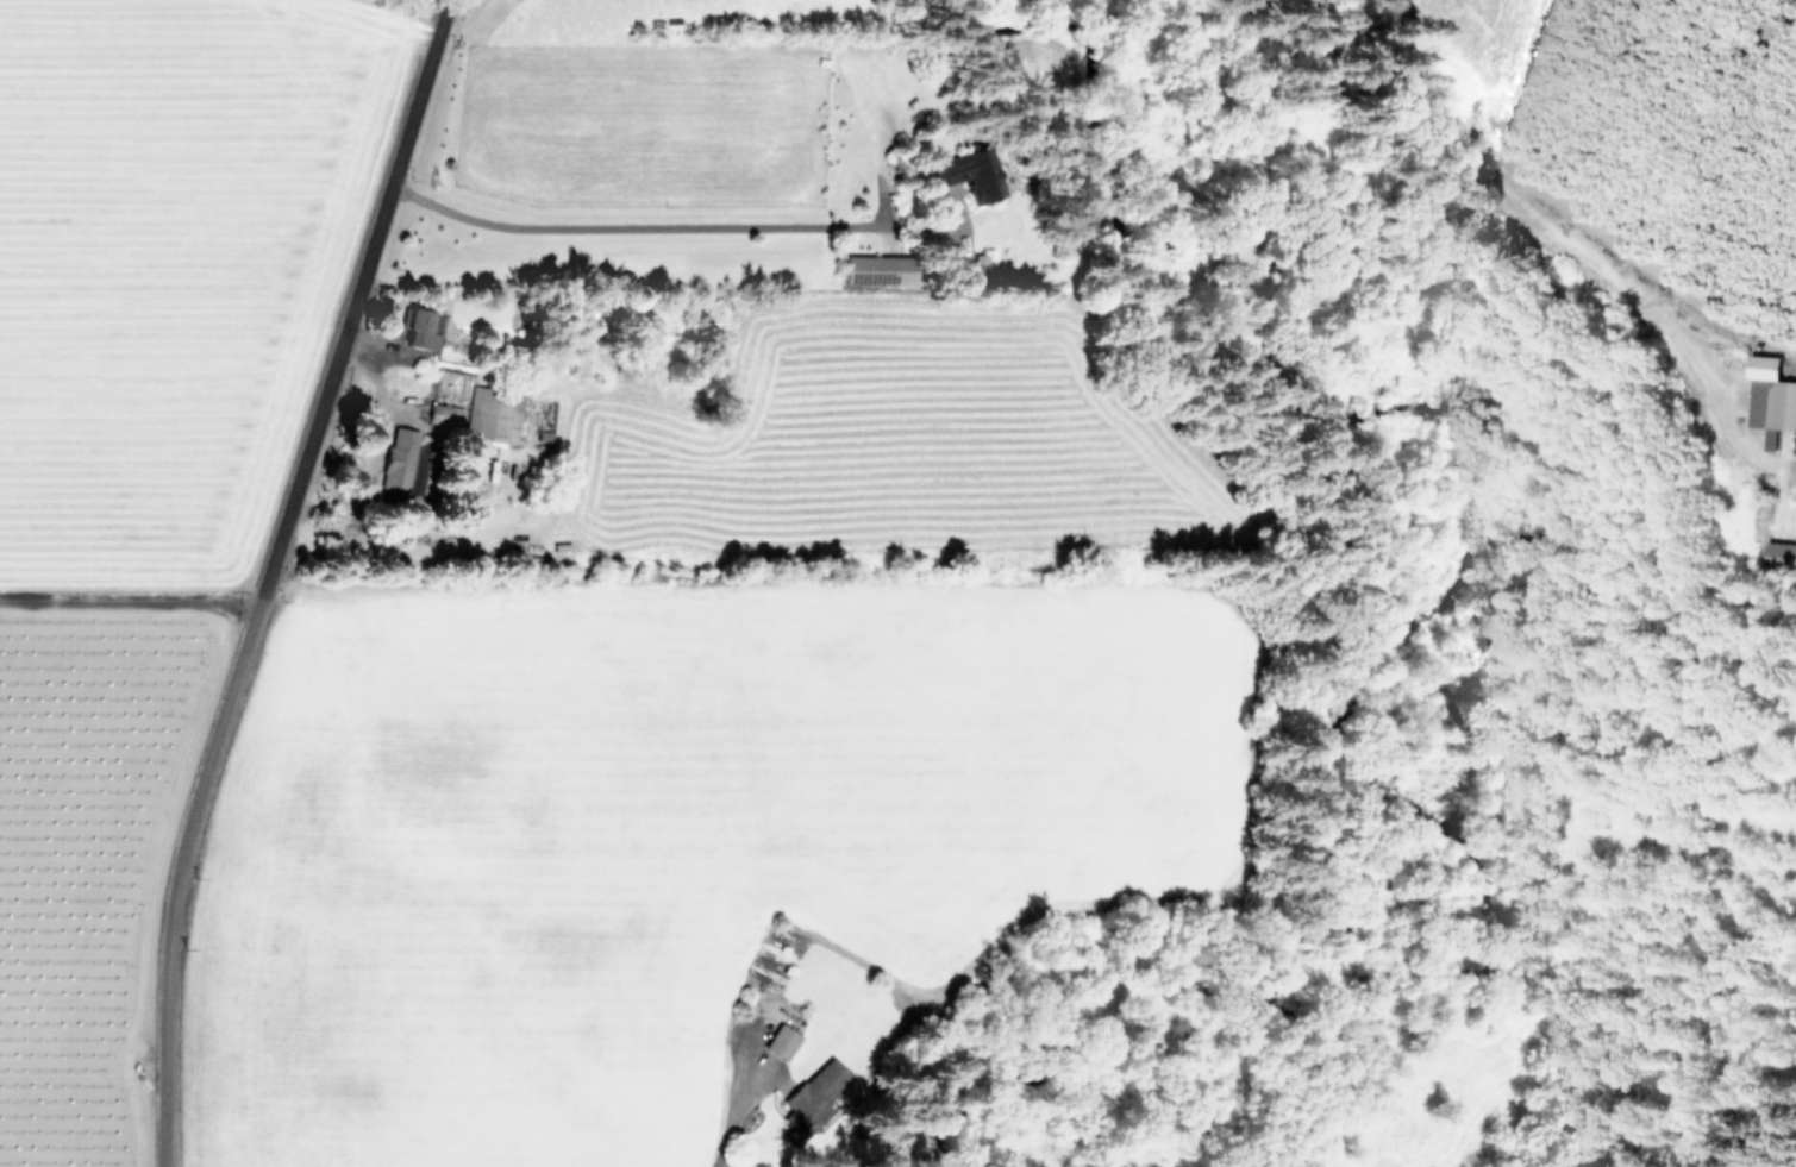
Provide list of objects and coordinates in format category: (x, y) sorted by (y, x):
building: (966, 172)
road: (622, 227)
building: (877, 268)
building: (421, 326)
building: (1771, 397)
building: (482, 413)
building: (398, 457)
building: (1782, 554)
river: (1445, 559)
road: (265, 577)
road: (129, 606)
crop: (597, 635)
building: (782, 1041)
building: (814, 1096)
road: (732, 1105)

